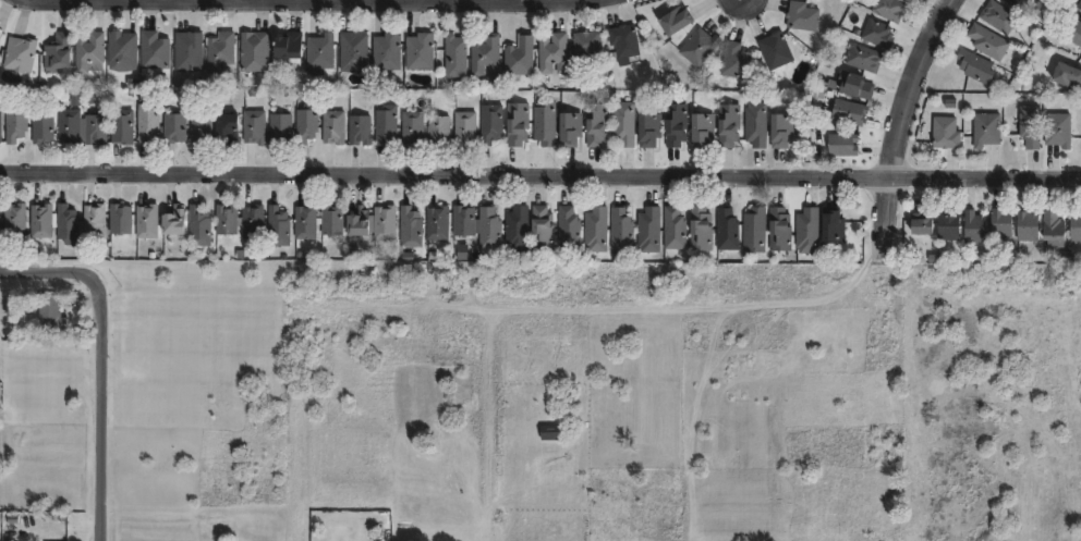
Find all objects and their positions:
building: (1017, 3)
building: (1079, 4)
road: (314, 5)
building: (890, 9)
building: (803, 15)
building: (999, 16)
building: (676, 20)
building: (877, 33)
building: (1076, 33)
building: (0, 39)
building: (989, 41)
building: (587, 42)
building: (625, 44)
building: (122, 47)
building: (700, 47)
building: (289, 48)
building: (155, 50)
building: (777, 50)
building: (88, 51)
building: (189, 51)
building: (254, 51)
building: (320, 51)
building: (353, 51)
building: (386, 51)
building: (420, 51)
building: (57, 52)
building: (555, 52)
building: (221, 53)
building: (20, 54)
building: (456, 56)
building: (486, 56)
building: (521, 56)
building: (865, 58)
building: (736, 60)
building: (976, 66)
building: (1068, 74)
building: (855, 84)
road: (913, 86)
building: (850, 111)
building: (15, 121)
building: (306, 123)
building: (491, 123)
building: (545, 123)
building: (624, 123)
building: (226, 124)
building: (518, 124)
building: (596, 124)
building: (676, 124)
building: (729, 124)
building: (757, 124)
building: (147, 125)
building: (386, 125)
building: (1031, 125)
building: (0, 126)
building: (68, 126)
building: (122, 126)
building: (174, 126)
building: (254, 126)
building: (333, 126)
building: (412, 126)
building: (704, 126)
building: (202, 127)
building: (465, 127)
building: (41, 128)
building: (95, 128)
building: (281, 128)
building: (570, 128)
building: (649, 128)
building: (782, 128)
building: (1059, 128)
building: (360, 130)
building: (438, 130)
building: (986, 130)
building: (947, 134)
building: (843, 144)
road: (540, 176)
road: (884, 214)
building: (120, 219)
building: (28, 220)
building: (240, 220)
building: (331, 220)
building: (437, 220)
building: (94, 221)
building: (147, 221)
building: (463, 221)
building: (171, 222)
building: (304, 222)
building: (357, 222)
building: (385, 222)
building: (410, 223)
building: (1001, 223)
building: (66, 224)
building: (922, 224)
building: (198, 225)
building: (949, 225)
building: (1077, 225)
building: (279, 226)
building: (834, 226)
building: (974, 226)
building: (518, 228)
building: (542, 228)
building: (569, 228)
building: (489, 229)
building: (597, 229)
building: (675, 229)
building: (701, 229)
building: (780, 229)
building: (622, 230)
building: (649, 230)
building: (728, 230)
building: (755, 230)
building: (809, 230)
building: (1055, 232)
road: (50, 274)
building: (49, 313)
road: (714, 335)
road: (102, 408)
road: (490, 483)

